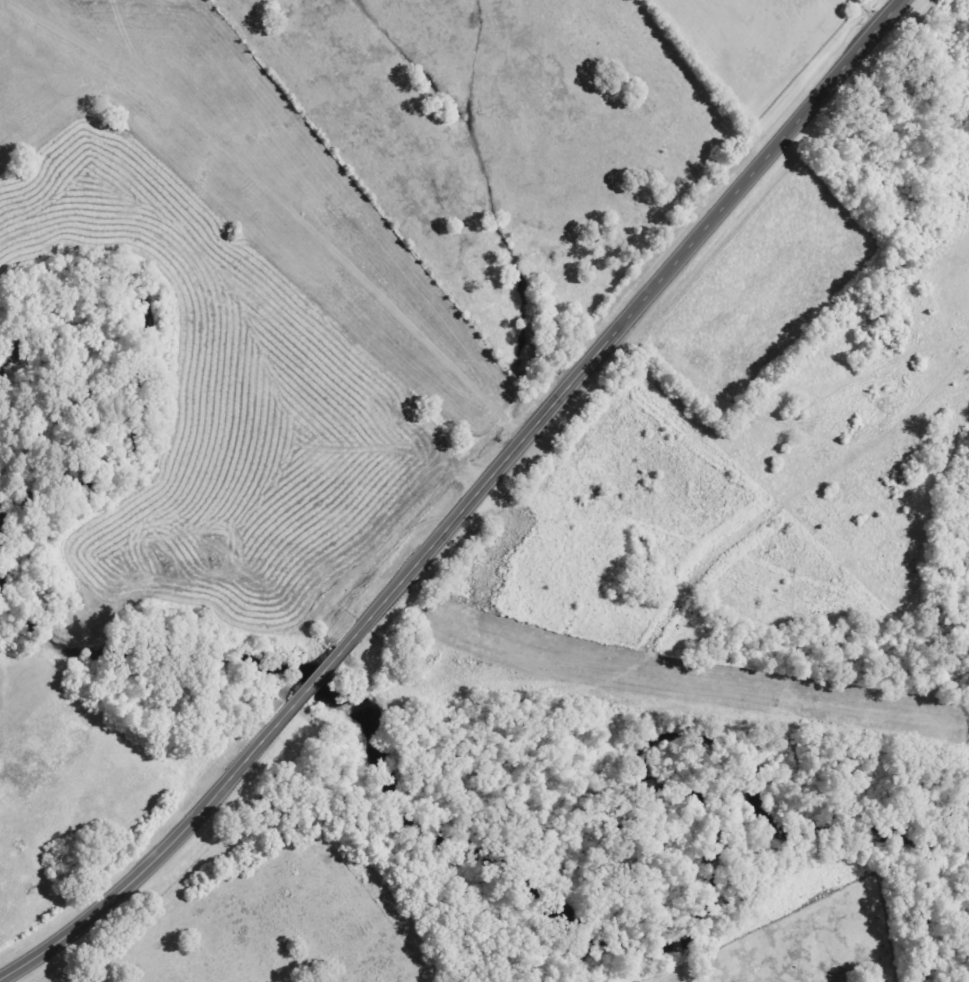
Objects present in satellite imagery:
road: (875, 12)
road: (472, 510)

